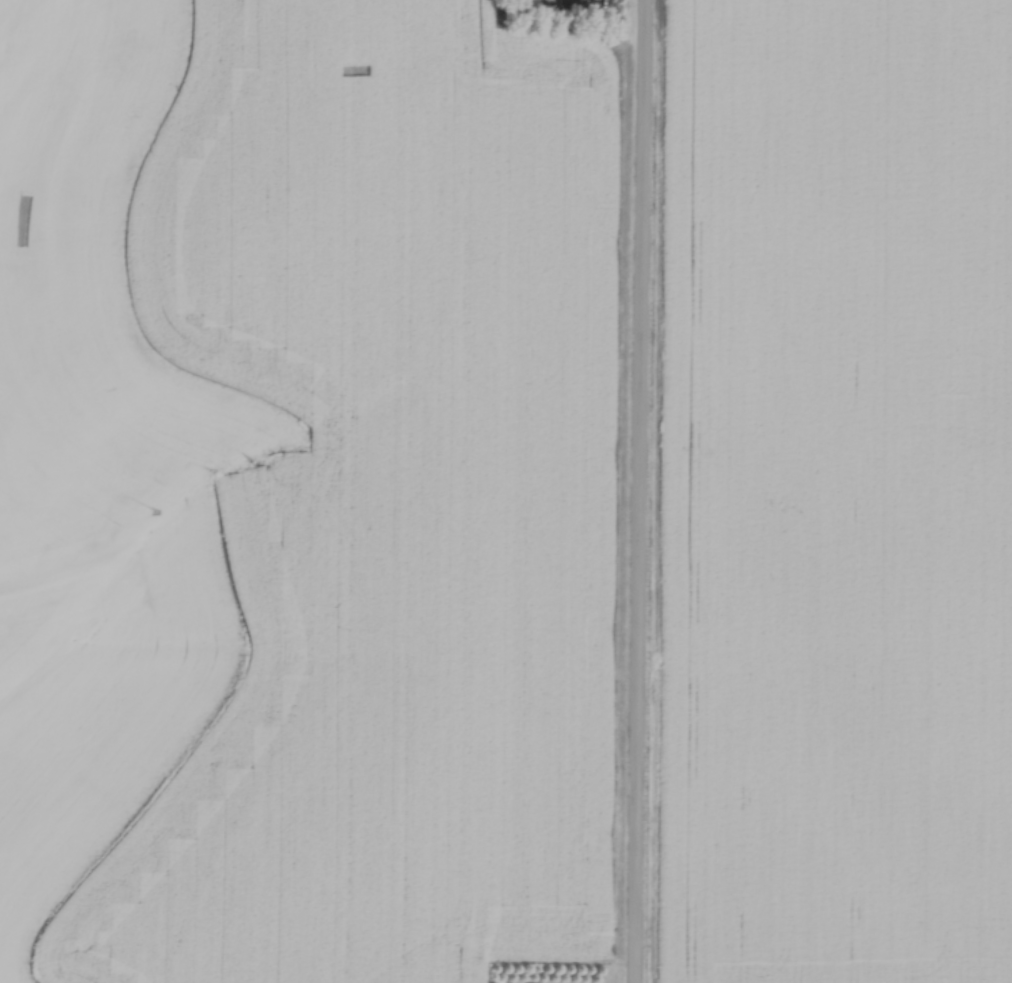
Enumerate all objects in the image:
road: (638, 491)

